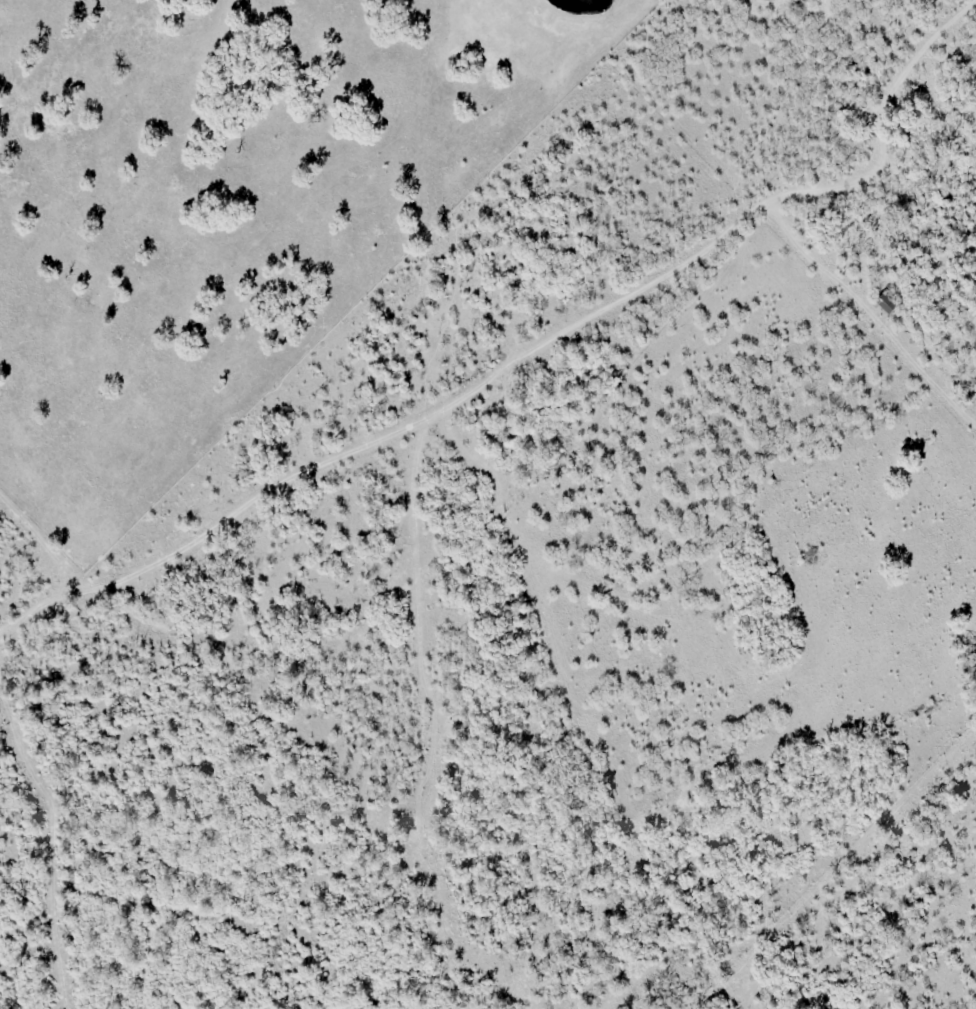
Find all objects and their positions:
building: (889, 304)

